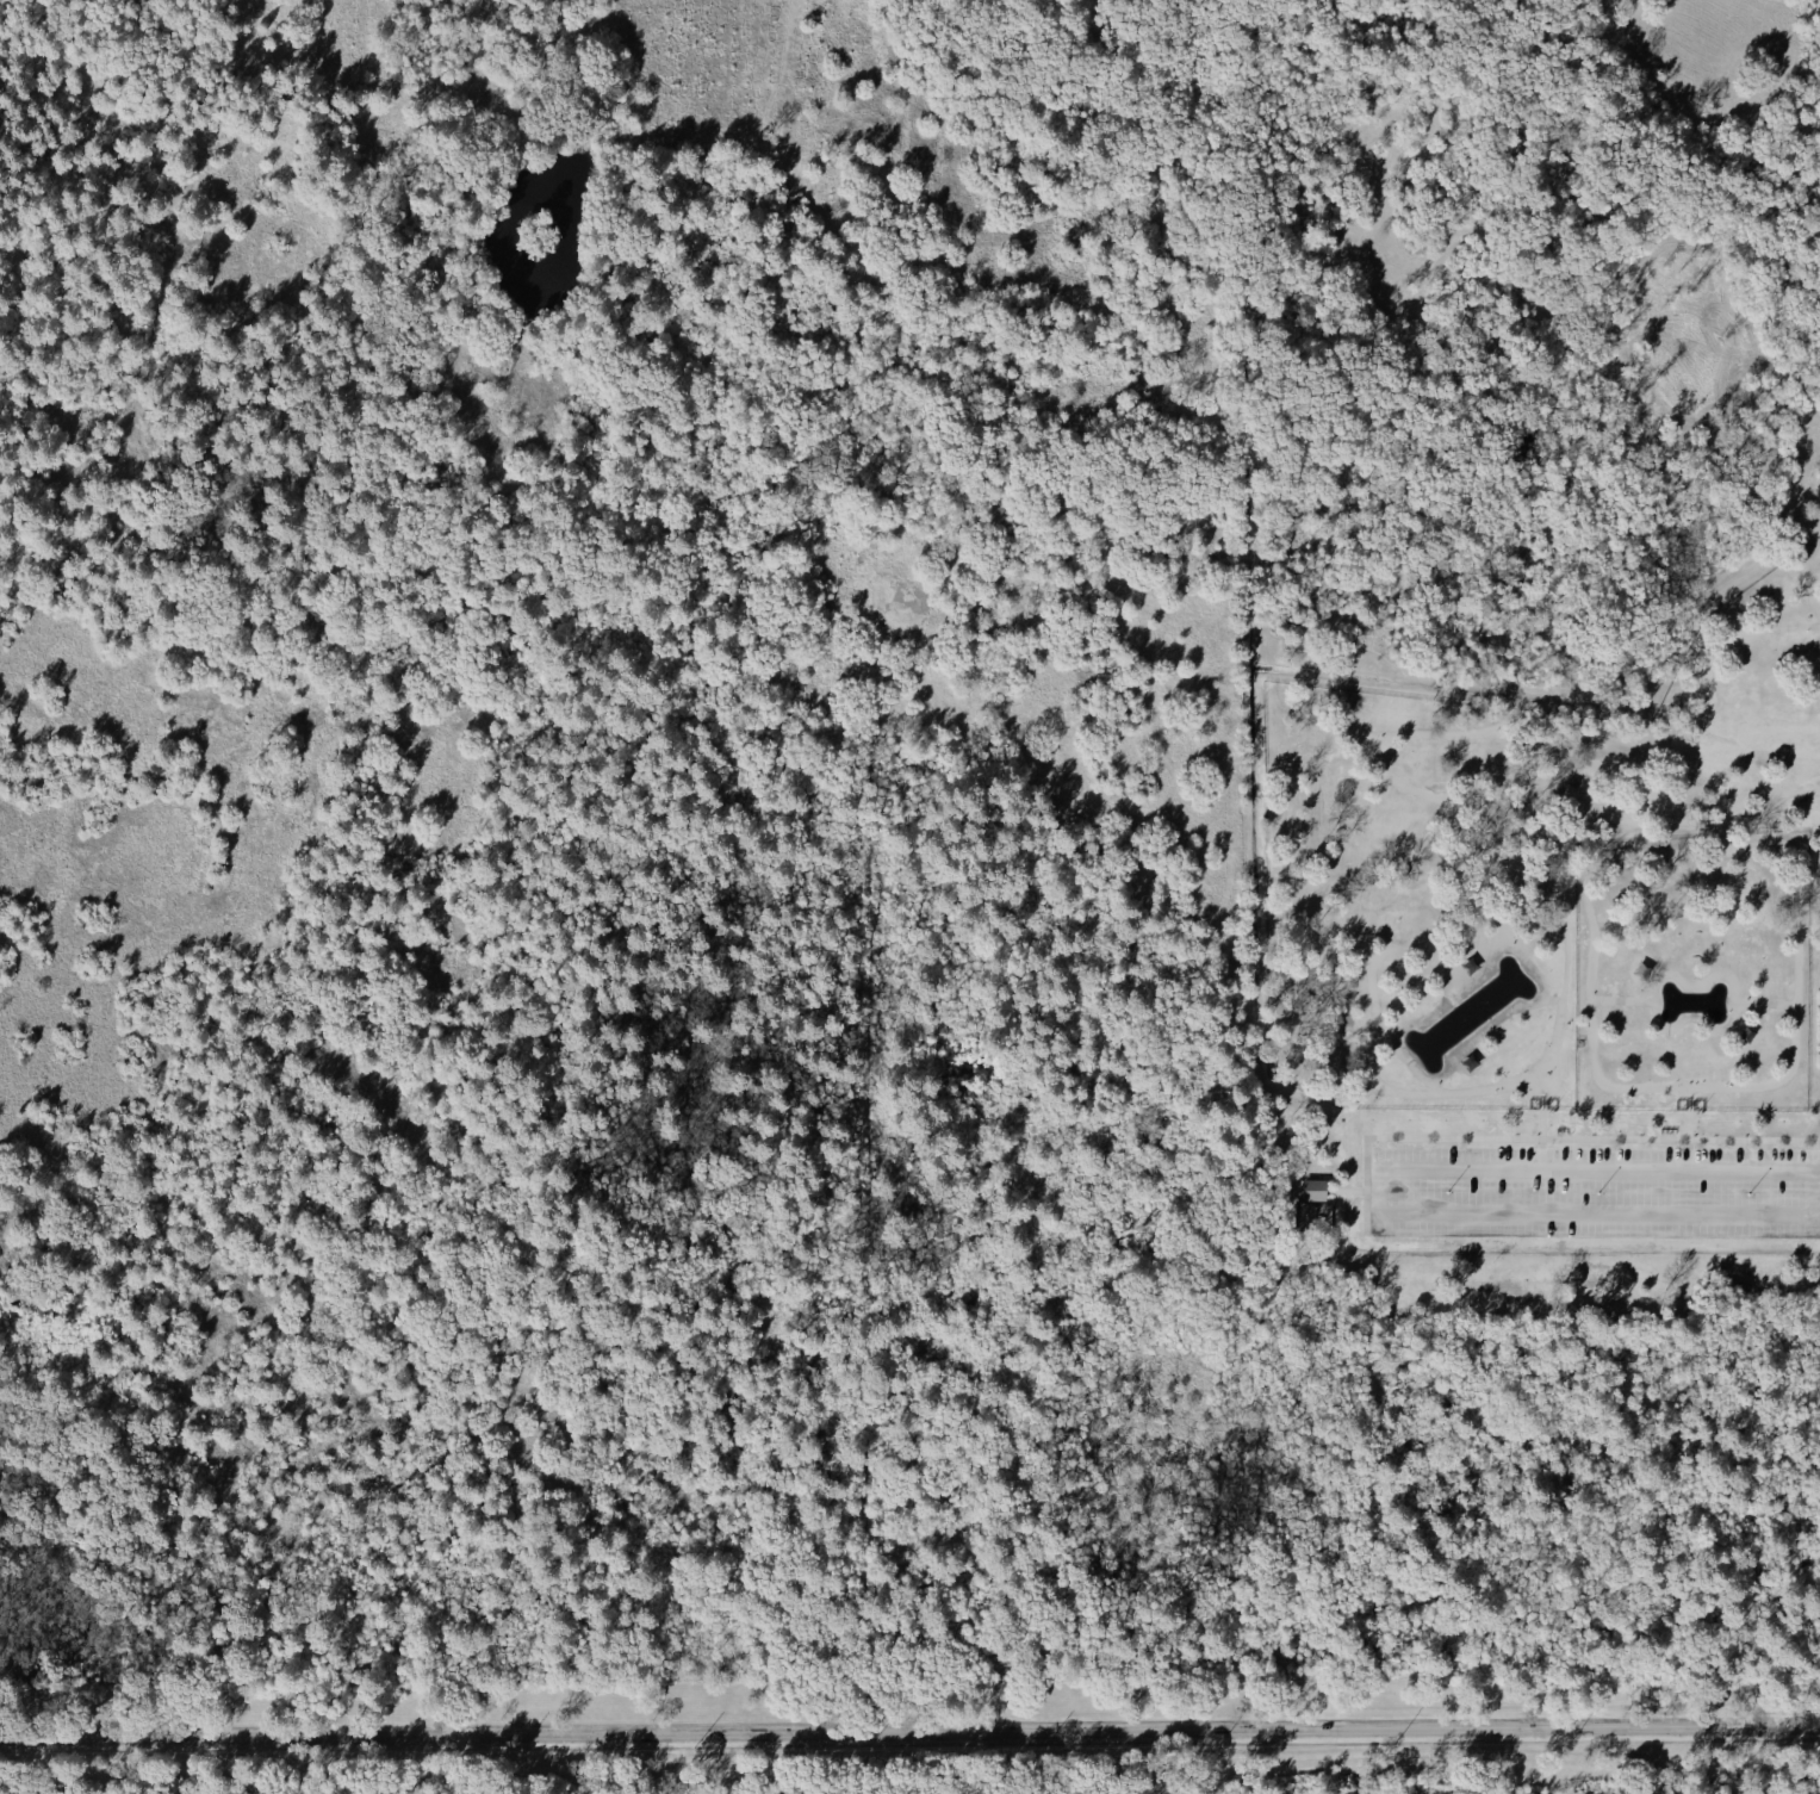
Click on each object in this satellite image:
road: (1406, 787)
road: (1642, 793)
road: (1577, 826)
road: (1486, 946)
road: (1470, 949)
road: (1516, 949)
road: (1453, 962)
building: (1470, 964)
building: (1641, 969)
road: (1653, 975)
road: (1694, 985)
park: (1815, 988)
road: (1763, 1001)
road: (1663, 1026)
road: (1734, 1026)
building: (1746, 1033)
building: (1467, 1061)
road: (1477, 1066)
road: (1600, 1082)
road: (1541, 1104)
road: (1688, 1130)
road: (1542, 1137)
road: (1380, 1154)
road: (1542, 1154)
road: (1814, 1157)
road: (1371, 1186)
building: (1313, 1190)
road: (1343, 1190)
street lamp: (1446, 1192)
parking lot: (1591, 1192)
street lamp: (1598, 1193)
street lamp: (1748, 1193)
road: (1816, 1200)
road: (909, 1732)

